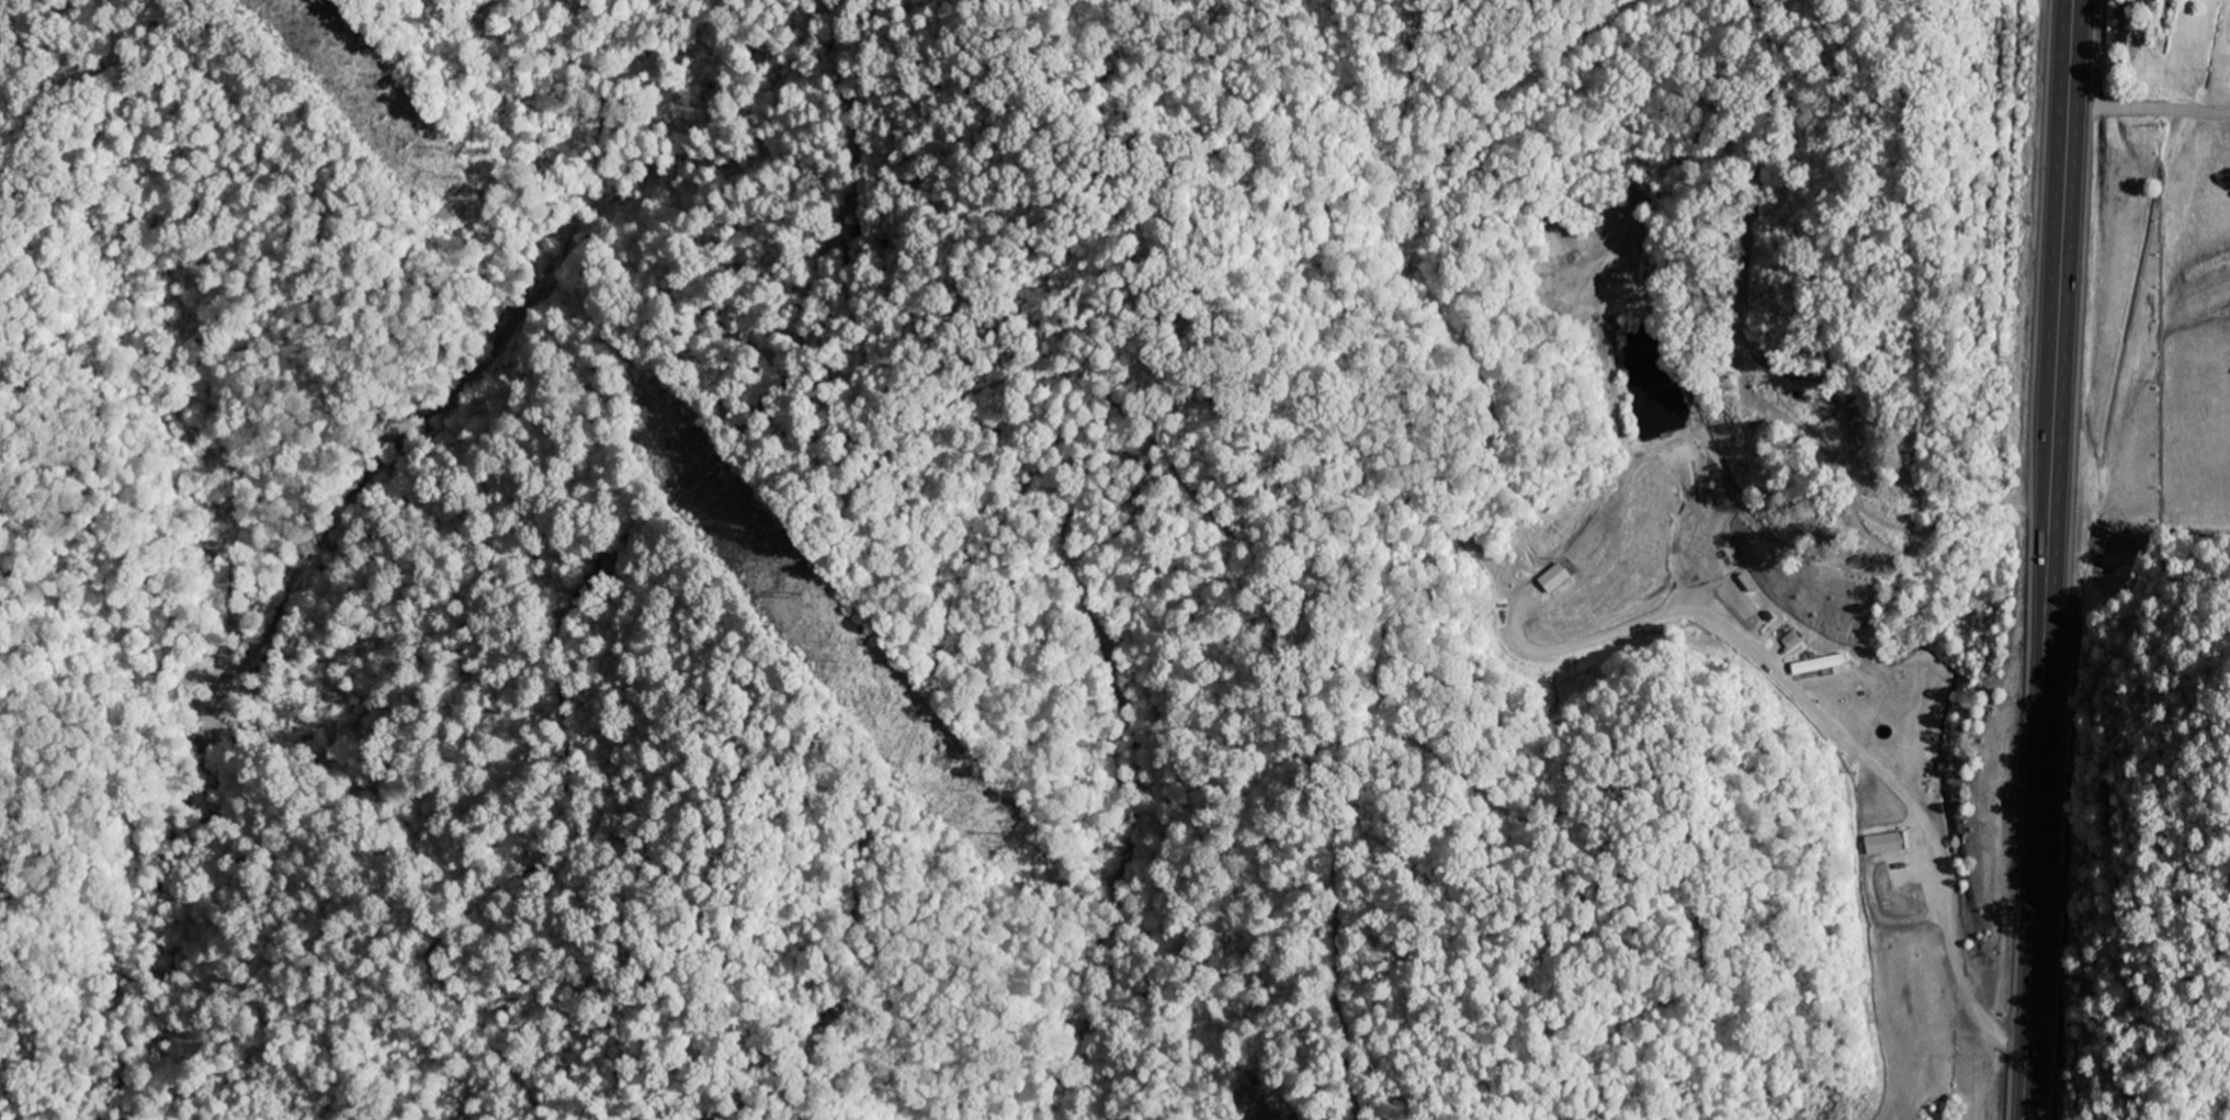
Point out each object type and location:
road: (2150, 108)
road: (2056, 419)
building: (1554, 579)
power tower: (792, 597)
building: (1789, 641)
building: (1816, 665)
road: (1825, 720)
building: (1883, 844)
road: (2033, 980)

